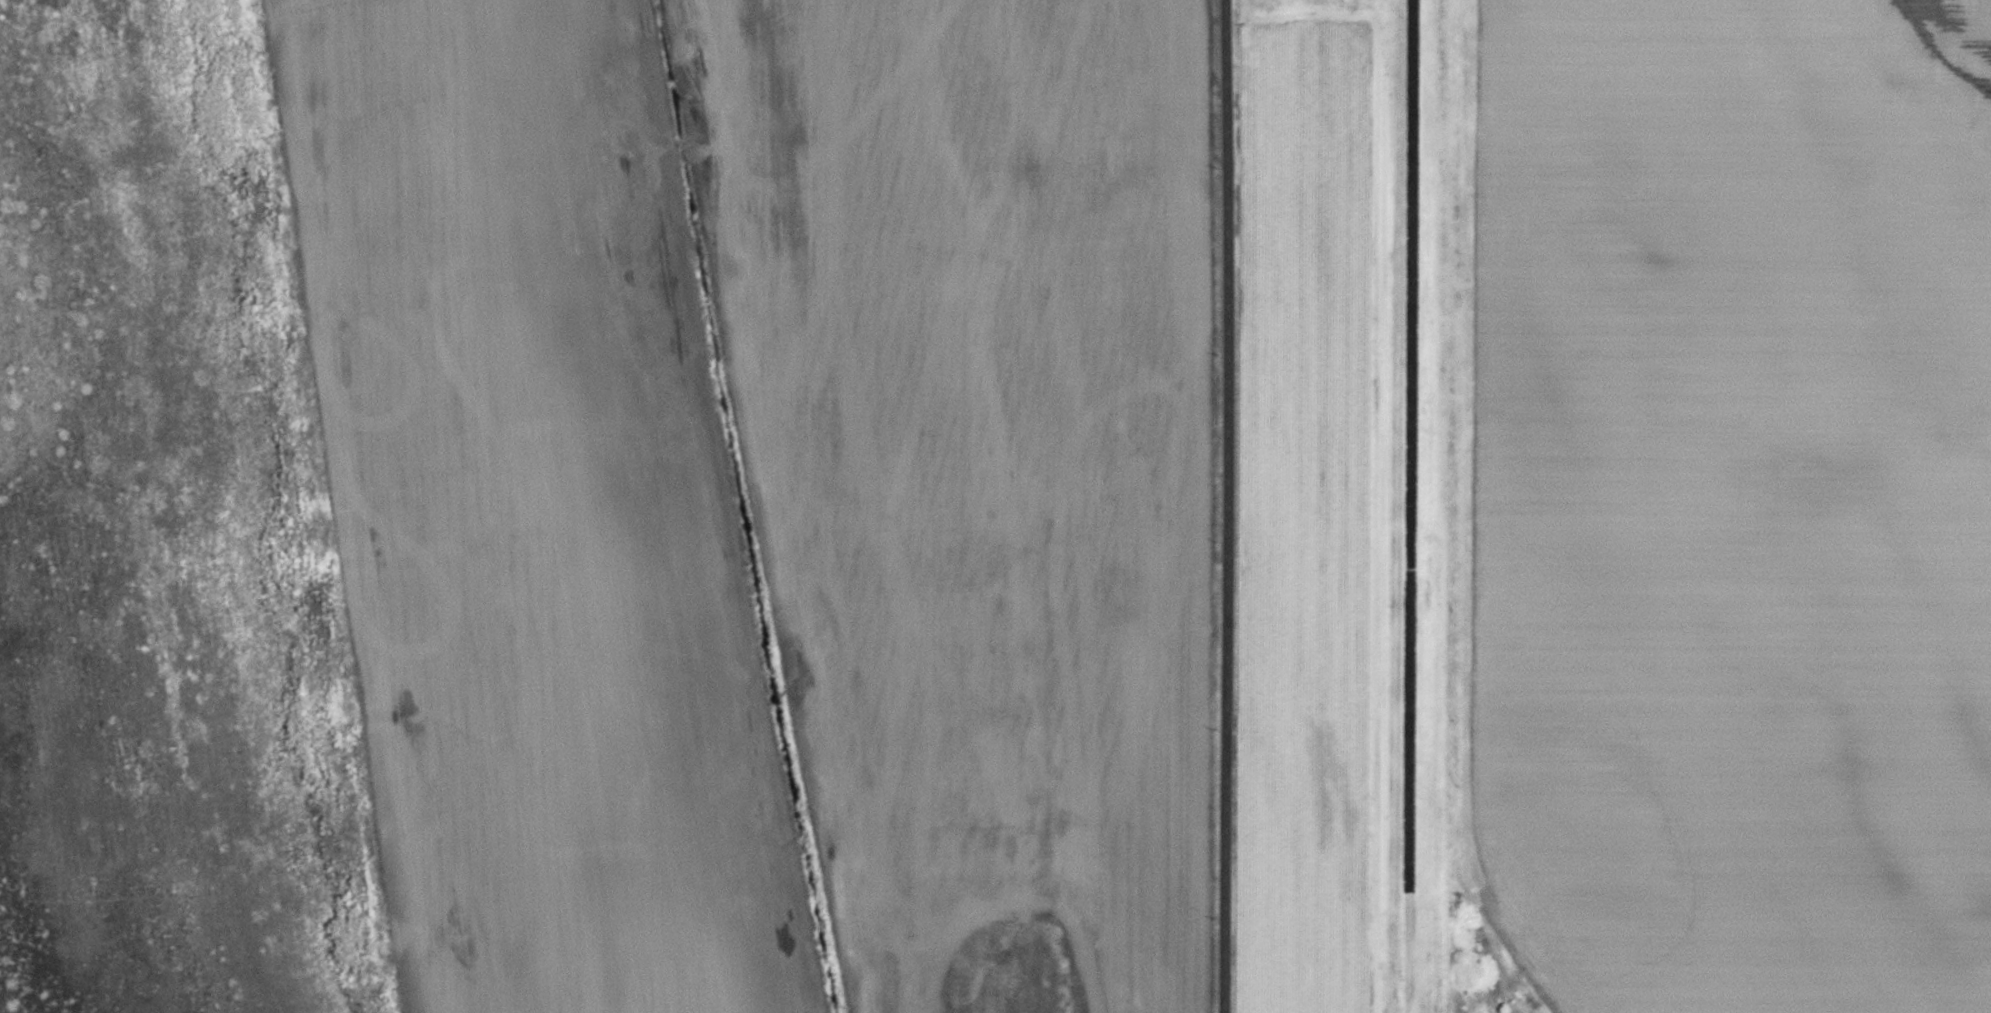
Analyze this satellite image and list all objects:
airport runway: (1408, 444)
road: (1227, 506)

